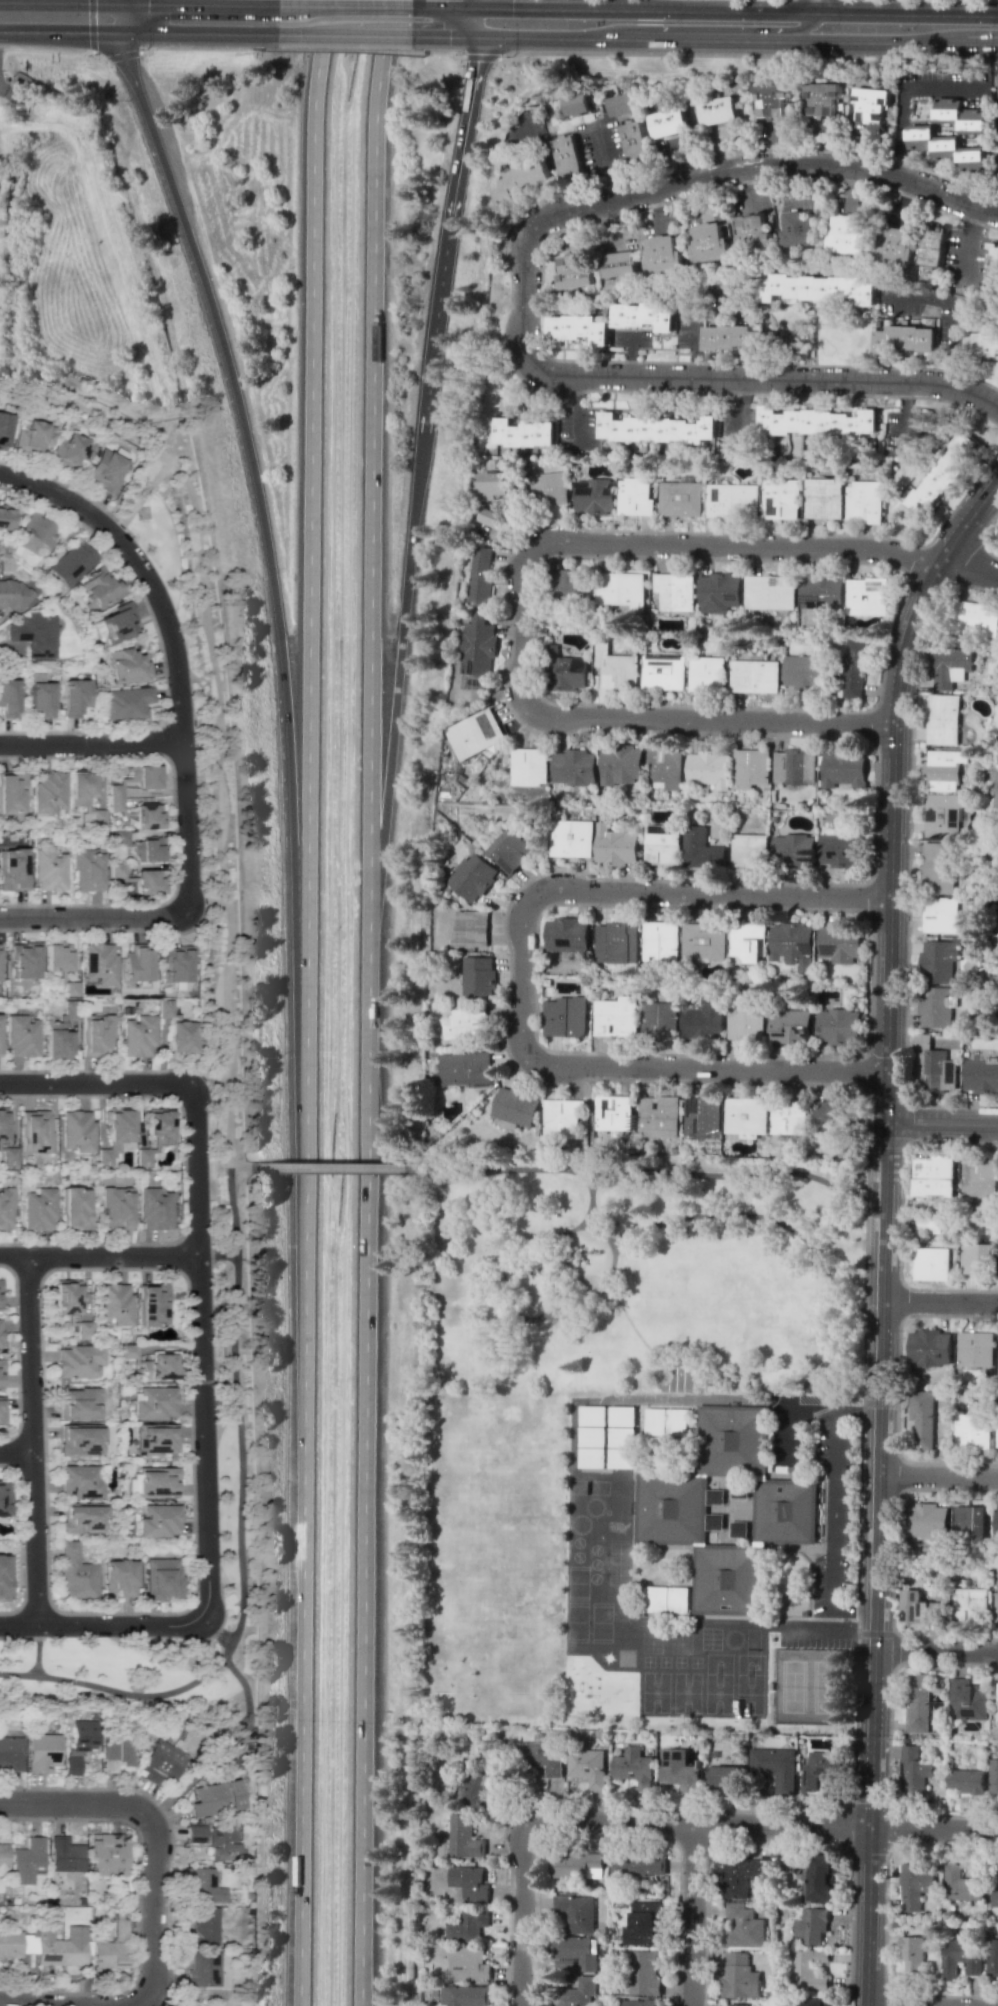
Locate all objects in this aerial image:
road: (120, 1)
road: (60, 2)
traffic signals: (147, 3)
road: (198, 3)
road: (478, 3)
road: (344, 5)
road: (445, 6)
road: (795, 6)
road: (822, 6)
traffic signals: (512, 7)
road: (569, 8)
road: (725, 11)
road: (973, 11)
road: (806, 12)
road: (910, 14)
road: (120, 17)
road: (708, 27)
road: (60, 32)
traffic signals: (86, 32)
road: (199, 33)
road: (313, 34)
road: (379, 35)
road: (444, 35)
traffic signals: (444, 35)
road: (534, 37)
road: (778, 39)
road: (981, 41)
road: (981, 44)
traffic signals: (476, 62)
road: (904, 96)
building: (822, 98)
building: (771, 99)
building: (623, 103)
building: (922, 103)
building: (577, 104)
building: (871, 104)
road: (468, 110)
building: (719, 110)
building: (947, 111)
building: (669, 122)
building: (976, 122)
building: (922, 130)
building: (947, 140)
building: (636, 143)
building: (975, 153)
building: (568, 156)
road: (605, 164)
building: (524, 180)
building: (800, 229)
building: (754, 234)
building: (848, 235)
building: (709, 242)
building: (932, 243)
building: (894, 246)
road: (966, 246)
building: (663, 255)
building: (620, 265)
building: (993, 265)
building: (575, 270)
building: (818, 288)
road: (523, 295)
road: (437, 311)
road: (693, 312)
road: (953, 313)
building: (644, 316)
building: (578, 328)
building: (733, 338)
building: (906, 339)
building: (982, 344)
road: (631, 354)
park: (74, 407)
road: (740, 411)
road: (576, 412)
road: (905, 419)
building: (819, 422)
building: (655, 428)
building: (3, 429)
building: (523, 433)
building: (32, 437)
building: (69, 451)
road: (373, 453)
road: (309, 468)
building: (104, 470)
building: (942, 474)
road: (252, 475)
building: (493, 484)
building: (548, 488)
building: (594, 496)
building: (635, 496)
road: (141, 497)
building: (681, 498)
building: (823, 498)
building: (781, 499)
building: (733, 500)
building: (863, 502)
building: (487, 517)
building: (5, 519)
building: (997, 534)
building: (34, 537)
road: (969, 561)
building: (70, 563)
building: (480, 572)
building: (572, 582)
building: (98, 589)
building: (620, 589)
building: (674, 591)
building: (719, 592)
building: (770, 592)
building: (822, 592)
building: (12, 595)
building: (867, 596)
road: (523, 610)
building: (976, 618)
building: (118, 623)
building: (33, 634)
building: (477, 646)
road: (174, 648)
road: (399, 658)
building: (127, 666)
building: (855, 666)
building: (951, 666)
building: (566, 671)
building: (618, 672)
building: (663, 672)
building: (804, 672)
building: (707, 673)
building: (755, 676)
building: (75, 696)
building: (8, 698)
building: (40, 698)
building: (126, 703)
road: (218, 716)
building: (943, 719)
road: (200, 722)
building: (475, 733)
road: (91, 741)
building: (620, 765)
building: (528, 766)
building: (795, 766)
building: (573, 767)
building: (665, 767)
building: (708, 768)
building: (751, 768)
building: (844, 768)
building: (944, 770)
building: (144, 776)
road: (892, 786)
building: (48, 792)
building: (12, 793)
building: (997, 794)
building: (84, 797)
building: (114, 798)
building: (942, 815)
building: (147, 816)
building: (571, 838)
building: (662, 845)
building: (615, 846)
building: (511, 849)
building: (702, 849)
building: (148, 850)
building: (749, 850)
building: (842, 850)
building: (792, 851)
building: (940, 868)
building: (13, 869)
building: (87, 869)
building: (48, 870)
building: (116, 870)
building: (471, 876)
building: (149, 882)
road: (207, 901)
building: (941, 915)
road: (93, 916)
building: (997, 916)
building: (470, 928)
building: (566, 934)
building: (996, 939)
building: (704, 940)
building: (660, 941)
building: (840, 942)
building: (616, 943)
building: (793, 945)
building: (752, 951)
building: (57, 956)
building: (23, 960)
building: (938, 960)
building: (99, 963)
building: (137, 963)
building: (177, 963)
building: (477, 978)
road: (522, 978)
building: (937, 1006)
building: (565, 1016)
building: (633, 1017)
building: (703, 1021)
building: (745, 1024)
building: (466, 1025)
building: (790, 1025)
building: (838, 1026)
building: (96, 1035)
building: (22, 1036)
building: (139, 1036)
building: (181, 1037)
building: (0, 1038)
building: (56, 1041)
street lamp: (278, 1059)
building: (934, 1066)
building: (463, 1068)
building: (981, 1076)
road: (210, 1079)
road: (95, 1083)
building: (515, 1106)
park: (223, 1108)
building: (612, 1113)
building: (830, 1113)
building: (701, 1116)
building: (561, 1117)
building: (658, 1117)
building: (745, 1117)
building: (788, 1117)
road: (590, 1120)
road: (942, 1122)
building: (3, 1126)
building: (35, 1131)
building: (77, 1131)
building: (155, 1134)
building: (117, 1135)
building: (0, 1147)
building: (9, 1156)
road: (885, 1160)
road: (239, 1166)
road: (331, 1167)
road: (651, 1169)
building: (933, 1176)
building: (979, 1178)
building: (5, 1207)
building: (74, 1207)
building: (116, 1207)
building: (38, 1208)
building: (154, 1209)
road: (759, 1216)
road: (883, 1250)
road: (14, 1254)
road: (113, 1255)
road: (217, 1256)
building: (977, 1258)
building: (931, 1264)
road: (940, 1301)
building: (115, 1304)
building: (154, 1304)
building: (70, 1305)
road: (861, 1308)
road: (504, 1310)
road: (631, 1325)
street lamp: (901, 1329)
building: (0, 1332)
building: (929, 1347)
building: (975, 1349)
road: (880, 1351)
road: (201, 1352)
building: (80, 1360)
building: (151, 1362)
park: (593, 1364)
building: (1, 1373)
building: (678, 1375)
road: (897, 1390)
road: (650, 1400)
road: (826, 1400)
building: (154, 1402)
road: (880, 1402)
building: (80, 1403)
road: (879, 1405)
building: (1, 1411)
building: (593, 1415)
building: (623, 1415)
building: (923, 1417)
building: (656, 1421)
building: (677, 1421)
building: (972, 1430)
building: (997, 1430)
building: (594, 1436)
building: (622, 1436)
road: (861, 1437)
building: (156, 1438)
road: (33, 1439)
building: (79, 1439)
road: (17, 1452)
road: (366, 1456)
building: (593, 1457)
building: (622, 1457)
road: (302, 1471)
road: (937, 1476)
building: (83, 1481)
building: (157, 1481)
street lamp: (951, 1493)
building: (4, 1499)
parking lot: (846, 1505)
road: (834, 1507)
road: (877, 1508)
building: (671, 1511)
parking lot: (834, 1512)
building: (83, 1517)
building: (160, 1521)
building: (928, 1521)
building: (996, 1522)
building: (971, 1523)
road: (238, 1531)
building: (77, 1574)
building: (4, 1576)
building: (120, 1576)
building: (164, 1578)
building: (659, 1599)
building: (680, 1599)
building: (996, 1604)
building: (970, 1605)
building: (919, 1608)
road: (103, 1625)
road: (875, 1628)
road: (217, 1631)
road: (875, 1633)
road: (37, 1649)
street lamp: (853, 1649)
road: (894, 1649)
road: (935, 1649)
park: (808, 1686)
building: (997, 1693)
building: (968, 1701)
building: (918, 1704)
building: (81, 1735)
road: (222, 1745)
building: (115, 1750)
building: (42, 1751)
building: (10, 1753)
building: (540, 1757)
building: (161, 1763)
building: (71, 1765)
building: (587, 1766)
building: (634, 1767)
building: (775, 1767)
building: (820, 1768)
building: (679, 1770)
building: (916, 1770)
building: (724, 1778)
building: (994, 1778)
building: (968, 1780)
building: (475, 1788)
building: (215, 1798)
road: (764, 1825)
road: (871, 1827)
street lamp: (131, 1828)
building: (196, 1833)
building: (463, 1837)
building: (223, 1845)
road: (152, 1849)
building: (65, 1855)
building: (106, 1855)
building: (3, 1858)
building: (26, 1860)
building: (575, 1864)
building: (636, 1866)
building: (741, 1875)
building: (823, 1877)
building: (469, 1884)
building: (962, 1885)
building: (201, 1886)
building: (916, 1886)
building: (994, 1897)
building: (575, 1913)
road: (523, 1914)
road: (692, 1915)
building: (643, 1923)
building: (812, 1925)
building: (466, 1926)
building: (744, 1926)
building: (202, 1928)
building: (10, 1943)
building: (59, 1944)
building: (912, 1952)
building: (109, 1954)
building: (573, 1954)
building: (961, 1954)
building: (993, 1957)
building: (468, 1963)
building: (208, 1970)
building: (811, 1970)
building: (642, 1973)
building: (739, 1977)
building: (574, 1993)
building: (464, 1996)
road: (39, 2000)
building: (815, 2001)
building: (637, 2002)
building: (738, 2004)
road: (884, 2005)

